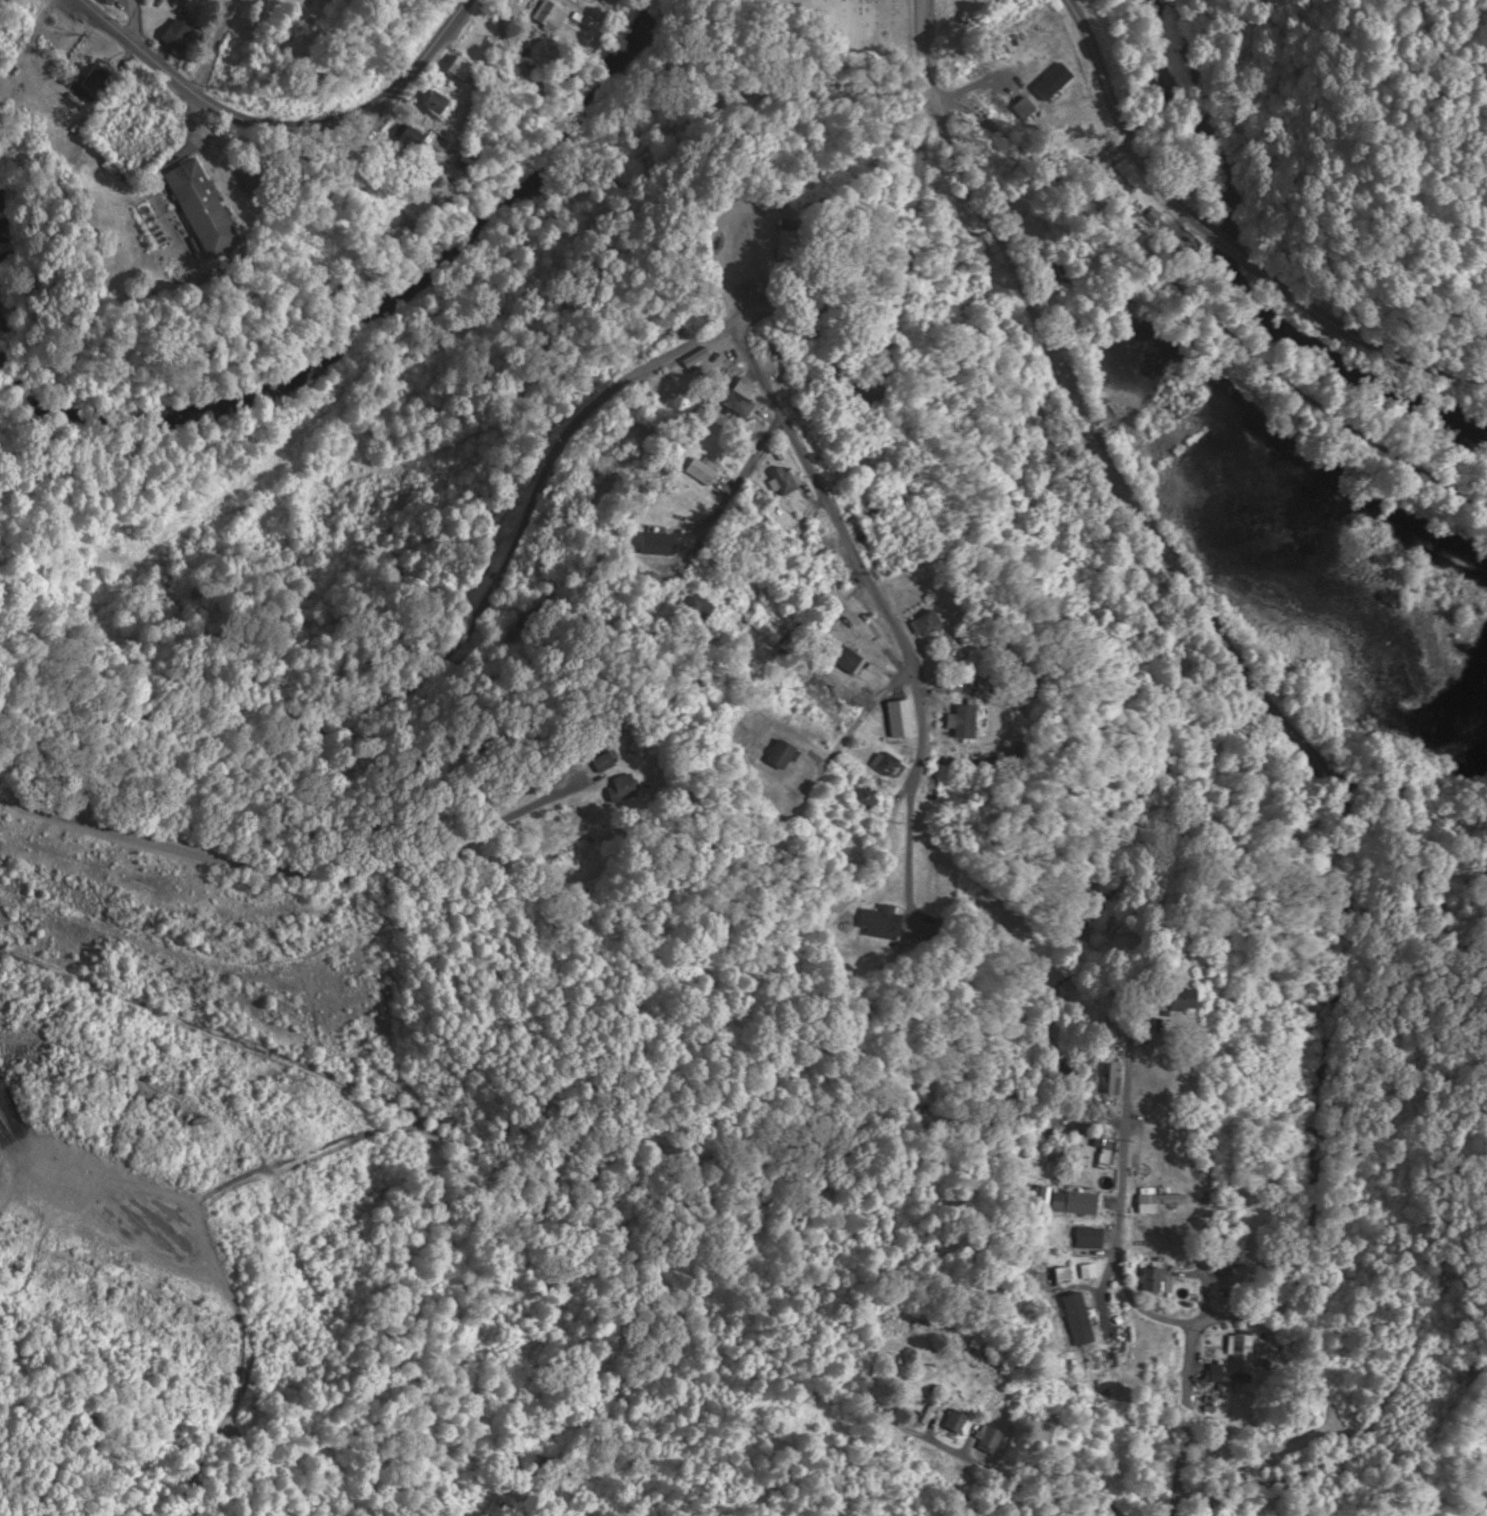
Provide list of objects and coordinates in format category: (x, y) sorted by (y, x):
road: (132, 19)
building: (555, 19)
building: (180, 37)
building: (1044, 39)
road: (220, 44)
road: (582, 59)
building: (460, 68)
building: (98, 81)
building: (439, 105)
building: (1074, 120)
road: (282, 125)
road: (1123, 137)
building: (414, 139)
building: (1106, 181)
building: (208, 210)
building: (798, 244)
building: (976, 251)
road: (1237, 252)
road: (923, 268)
road: (1334, 323)
road: (1460, 373)
building: (737, 406)
building: (702, 473)
building: (786, 482)
road: (826, 494)
building: (684, 521)
building: (874, 522)
building: (696, 609)
road: (796, 609)
building: (930, 624)
road: (473, 657)
building: (848, 659)
building: (822, 689)
road: (1278, 713)
road: (865, 717)
building: (969, 721)
building: (612, 761)
building: (889, 764)
road: (921, 787)
building: (628, 788)
building: (868, 800)
road: (295, 867)
building: (884, 923)
building: (1187, 999)
road: (216, 1032)
road: (1118, 1195)
building: (1163, 1201)
building: (1074, 1210)
building: (1091, 1239)
building: (1156, 1281)
building: (981, 1341)
building: (1099, 1361)
building: (1230, 1374)
road: (1183, 1419)
building: (957, 1421)
building: (989, 1439)
road: (1040, 1462)

